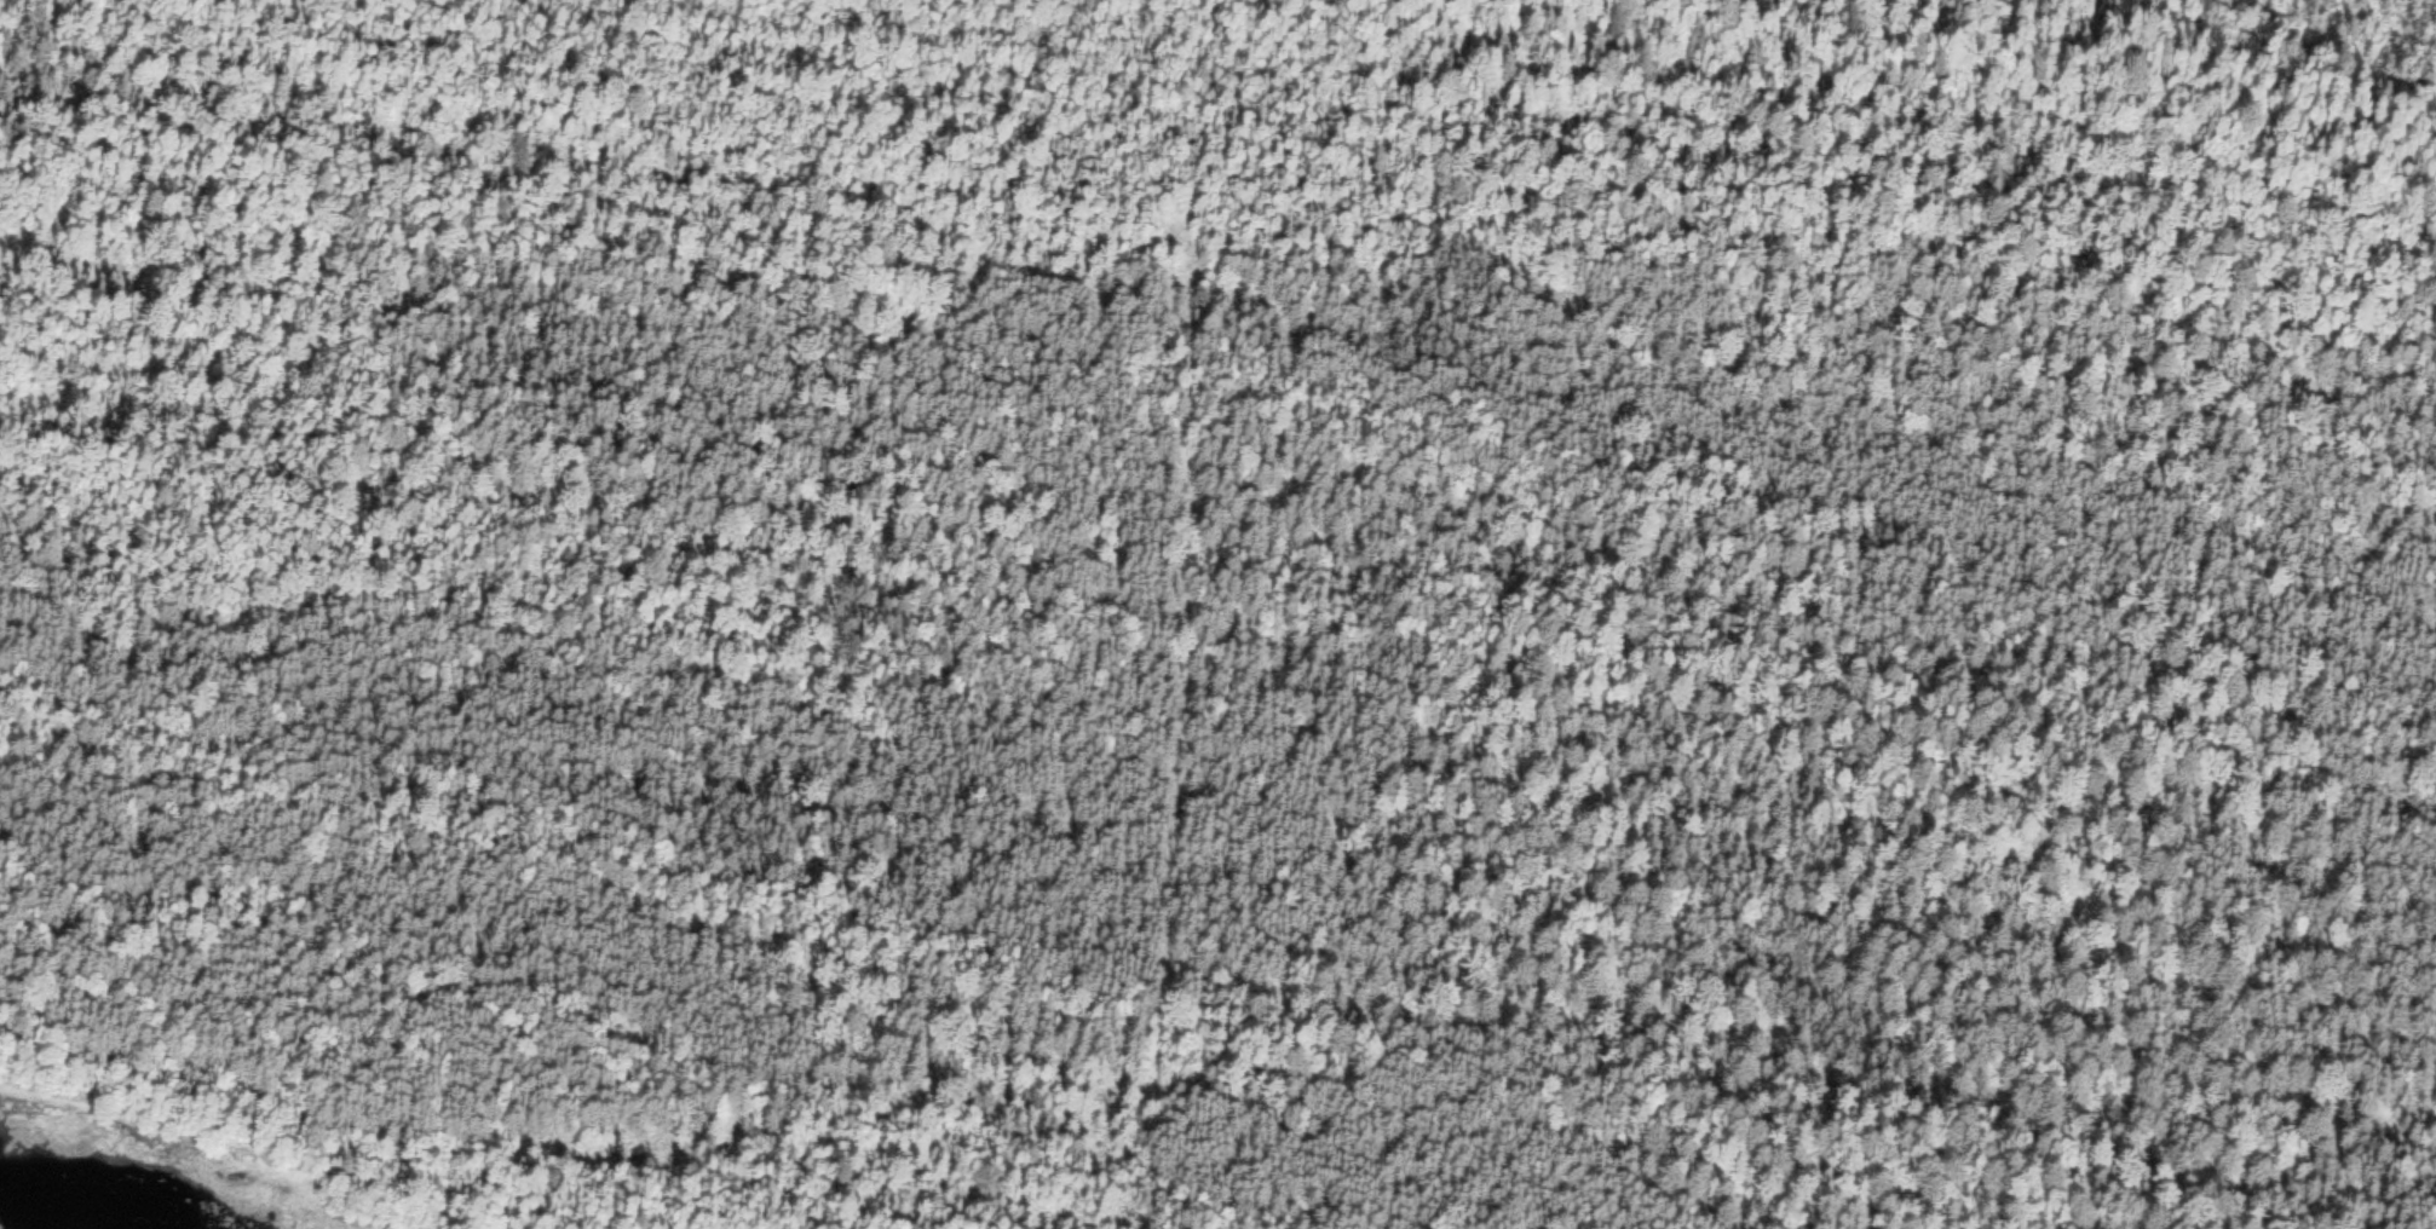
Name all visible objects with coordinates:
road: (1219, 1035)

